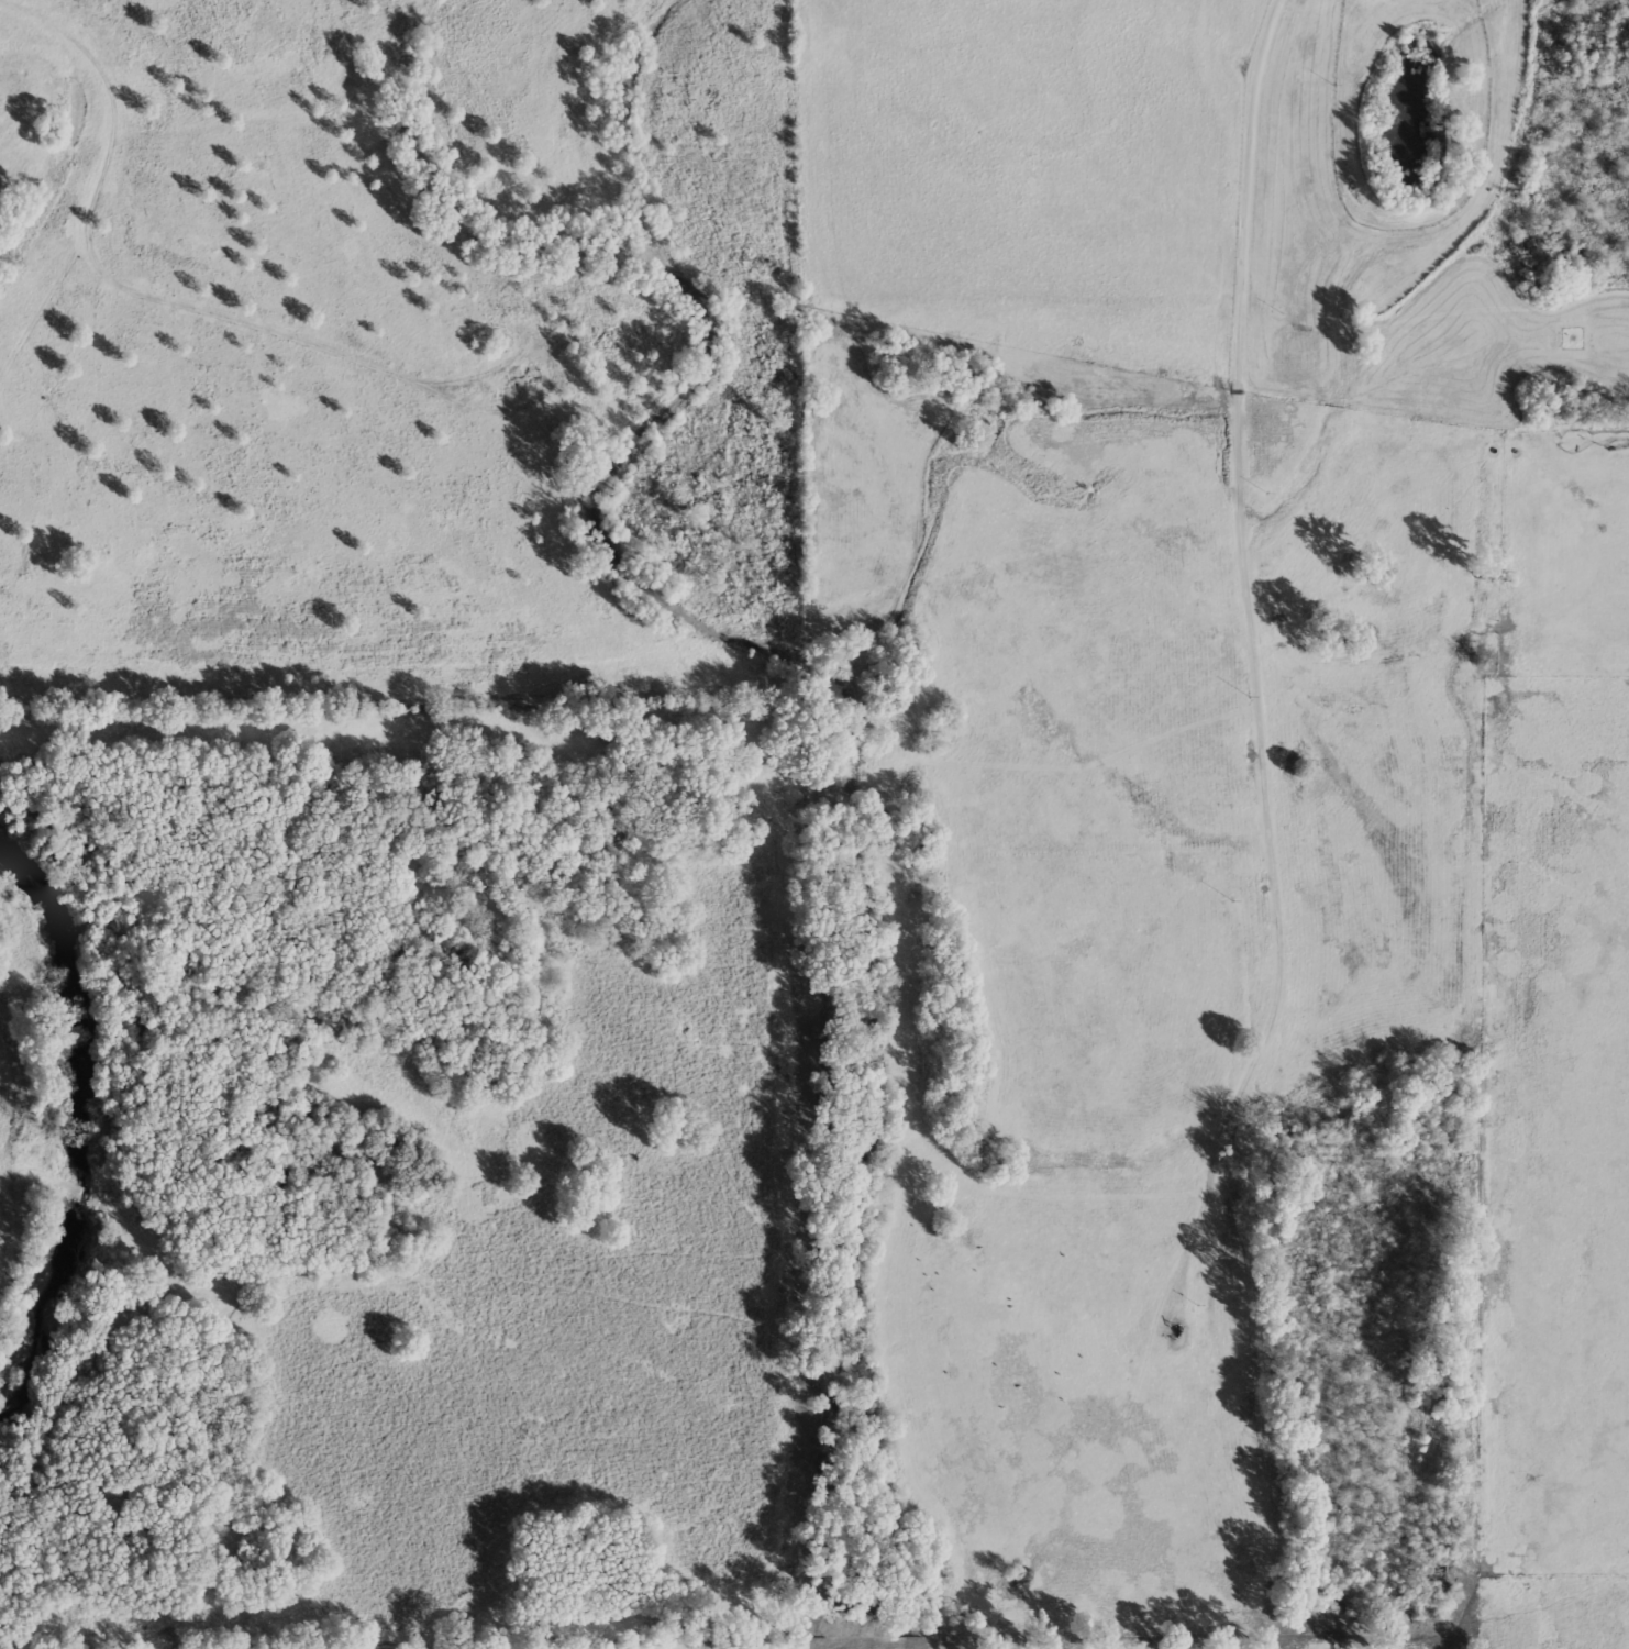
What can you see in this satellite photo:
road: (1288, 674)

